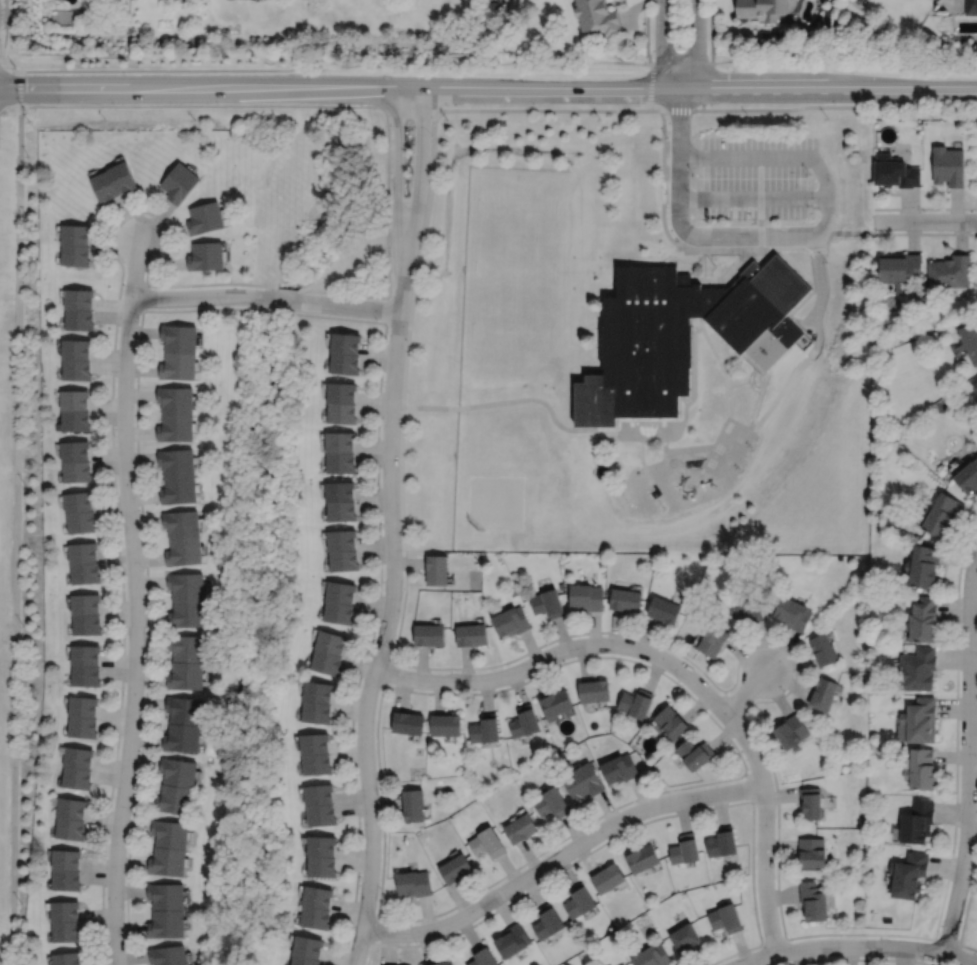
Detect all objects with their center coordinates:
building: (971, 7)
building: (762, 8)
building: (597, 18)
road: (6, 29)
road: (711, 30)
road: (646, 32)
road: (662, 43)
road: (696, 43)
road: (3, 59)
road: (502, 62)
street lamp: (16, 65)
road: (11, 66)
road: (488, 85)
road: (706, 85)
road: (650, 86)
road: (20, 87)
road: (201, 105)
street lamp: (25, 109)
road: (681, 109)
street lamp: (391, 131)
street lamp: (431, 134)
street lamp: (432, 135)
street lamp: (667, 137)
road: (786, 156)
building: (949, 166)
road: (397, 168)
road: (420, 168)
building: (896, 171)
street lamp: (693, 173)
street lamp: (810, 174)
building: (123, 176)
parking lot: (753, 176)
building: (179, 182)
building: (106, 186)
street lamp: (666, 192)
road: (752, 198)
road: (760, 206)
road: (925, 208)
park: (518, 211)
street lamp: (923, 211)
building: (205, 218)
road: (925, 220)
street lamp: (755, 221)
street lamp: (162, 224)
road: (842, 232)
road: (851, 232)
road: (861, 232)
road: (921, 233)
building: (77, 234)
road: (723, 235)
street lamp: (678, 241)
road: (693, 248)
building: (76, 255)
street lamp: (391, 255)
building: (206, 256)
street lamp: (826, 261)
road: (135, 267)
building: (901, 270)
building: (951, 272)
park: (515, 274)
road: (143, 296)
road: (265, 296)
road: (806, 296)
building: (80, 299)
street lamp: (222, 305)
road: (259, 307)
road: (387, 309)
road: (117, 310)
street lamp: (377, 318)
building: (81, 319)
street lamp: (139, 319)
building: (681, 335)
park: (512, 337)
building: (179, 338)
building: (971, 341)
building: (346, 343)
building: (77, 350)
building: (346, 364)
building: (178, 366)
building: (78, 370)
street lamp: (383, 380)
building: (975, 388)
building: (342, 393)
building: (75, 400)
building: (175, 400)
road: (772, 402)
building: (342, 414)
building: (77, 421)
building: (175, 426)
road: (590, 431)
street lamp: (115, 434)
building: (340, 439)
building: (76, 452)
building: (176, 460)
building: (341, 460)
building: (77, 471)
building: (968, 475)
building: (179, 488)
building: (340, 489)
building: (76, 500)
park: (496, 501)
building: (342, 509)
building: (942, 512)
building: (80, 520)
building: (181, 522)
street lamp: (381, 527)
road: (16, 535)
building: (342, 538)
building: (81, 550)
building: (183, 550)
street lamp: (967, 551)
building: (344, 558)
building: (924, 564)
building: (438, 568)
street lamp: (143, 569)
building: (84, 571)
building: (186, 585)
building: (341, 590)
building: (513, 591)
building: (585, 595)
building: (625, 598)
building: (84, 602)
building: (547, 602)
building: (747, 607)
building: (663, 608)
road: (389, 609)
building: (339, 611)
building: (187, 612)
building: (793, 612)
building: (924, 619)
building: (512, 620)
building: (85, 623)
road: (135, 630)
building: (430, 633)
building: (472, 633)
building: (713, 639)
building: (331, 641)
road: (598, 644)
building: (186, 647)
building: (823, 648)
street lamp: (391, 651)
street lamp: (748, 651)
road: (739, 653)
building: (84, 654)
building: (327, 661)
street lamp: (559, 661)
building: (918, 668)
building: (84, 674)
building: (186, 674)
road: (386, 674)
road: (674, 681)
street lamp: (678, 681)
street lamp: (461, 689)
building: (593, 690)
building: (318, 691)
road: (744, 691)
street lamp: (124, 693)
building: (823, 693)
road: (730, 701)
building: (635, 702)
building: (554, 703)
building: (82, 706)
building: (184, 709)
building: (317, 711)
building: (525, 721)
building: (670, 721)
building: (919, 721)
building: (409, 722)
building: (447, 724)
building: (82, 726)
building: (486, 728)
building: (791, 730)
building: (182, 737)
building: (314, 743)
road: (968, 752)
building: (694, 753)
building: (78, 757)
building: (317, 763)
building: (618, 768)
street lamp: (748, 769)
building: (922, 769)
building: (178, 771)
street lamp: (356, 773)
building: (76, 777)
building: (581, 781)
road: (749, 785)
building: (318, 794)
building: (174, 799)
building: (550, 803)
building: (811, 803)
building: (414, 804)
street lamp: (697, 807)
building: (72, 808)
street lamp: (130, 813)
building: (322, 815)
building: (918, 822)
road: (637, 825)
building: (521, 828)
building: (71, 829)
building: (169, 833)
building: (488, 842)
building: (722, 842)
building: (321, 846)
building: (685, 849)
building: (812, 853)
road: (559, 855)
building: (642, 859)
building: (66, 860)
building: (167, 861)
street lamp: (973, 863)
building: (321, 866)
building: (457, 869)
road: (764, 869)
building: (910, 876)
street lamp: (775, 877)
street lamp: (359, 878)
building: (607, 879)
building: (67, 880)
building: (415, 883)
building: (166, 896)
building: (317, 897)
street lamp: (508, 900)
building: (578, 901)
building: (813, 901)
road: (967, 904)
building: (65, 911)
building: (315, 918)
building: (725, 919)
building: (546, 922)
building: (166, 924)
road: (374, 929)
building: (67, 932)
building: (685, 939)
building: (513, 940)
street lamp: (791, 940)
road: (773, 941)
road: (945, 941)
street lamp: (415, 942)
road: (857, 946)
building: (307, 947)
street lamp: (106, 950)
building: (168, 955)
building: (484, 956)
building: (652, 957)
building: (68, 959)
road: (857, 959)
street lamp: (922, 960)
building: (304, 961)
building: (446, 963)
building: (622, 964)
building: (624, 964)

